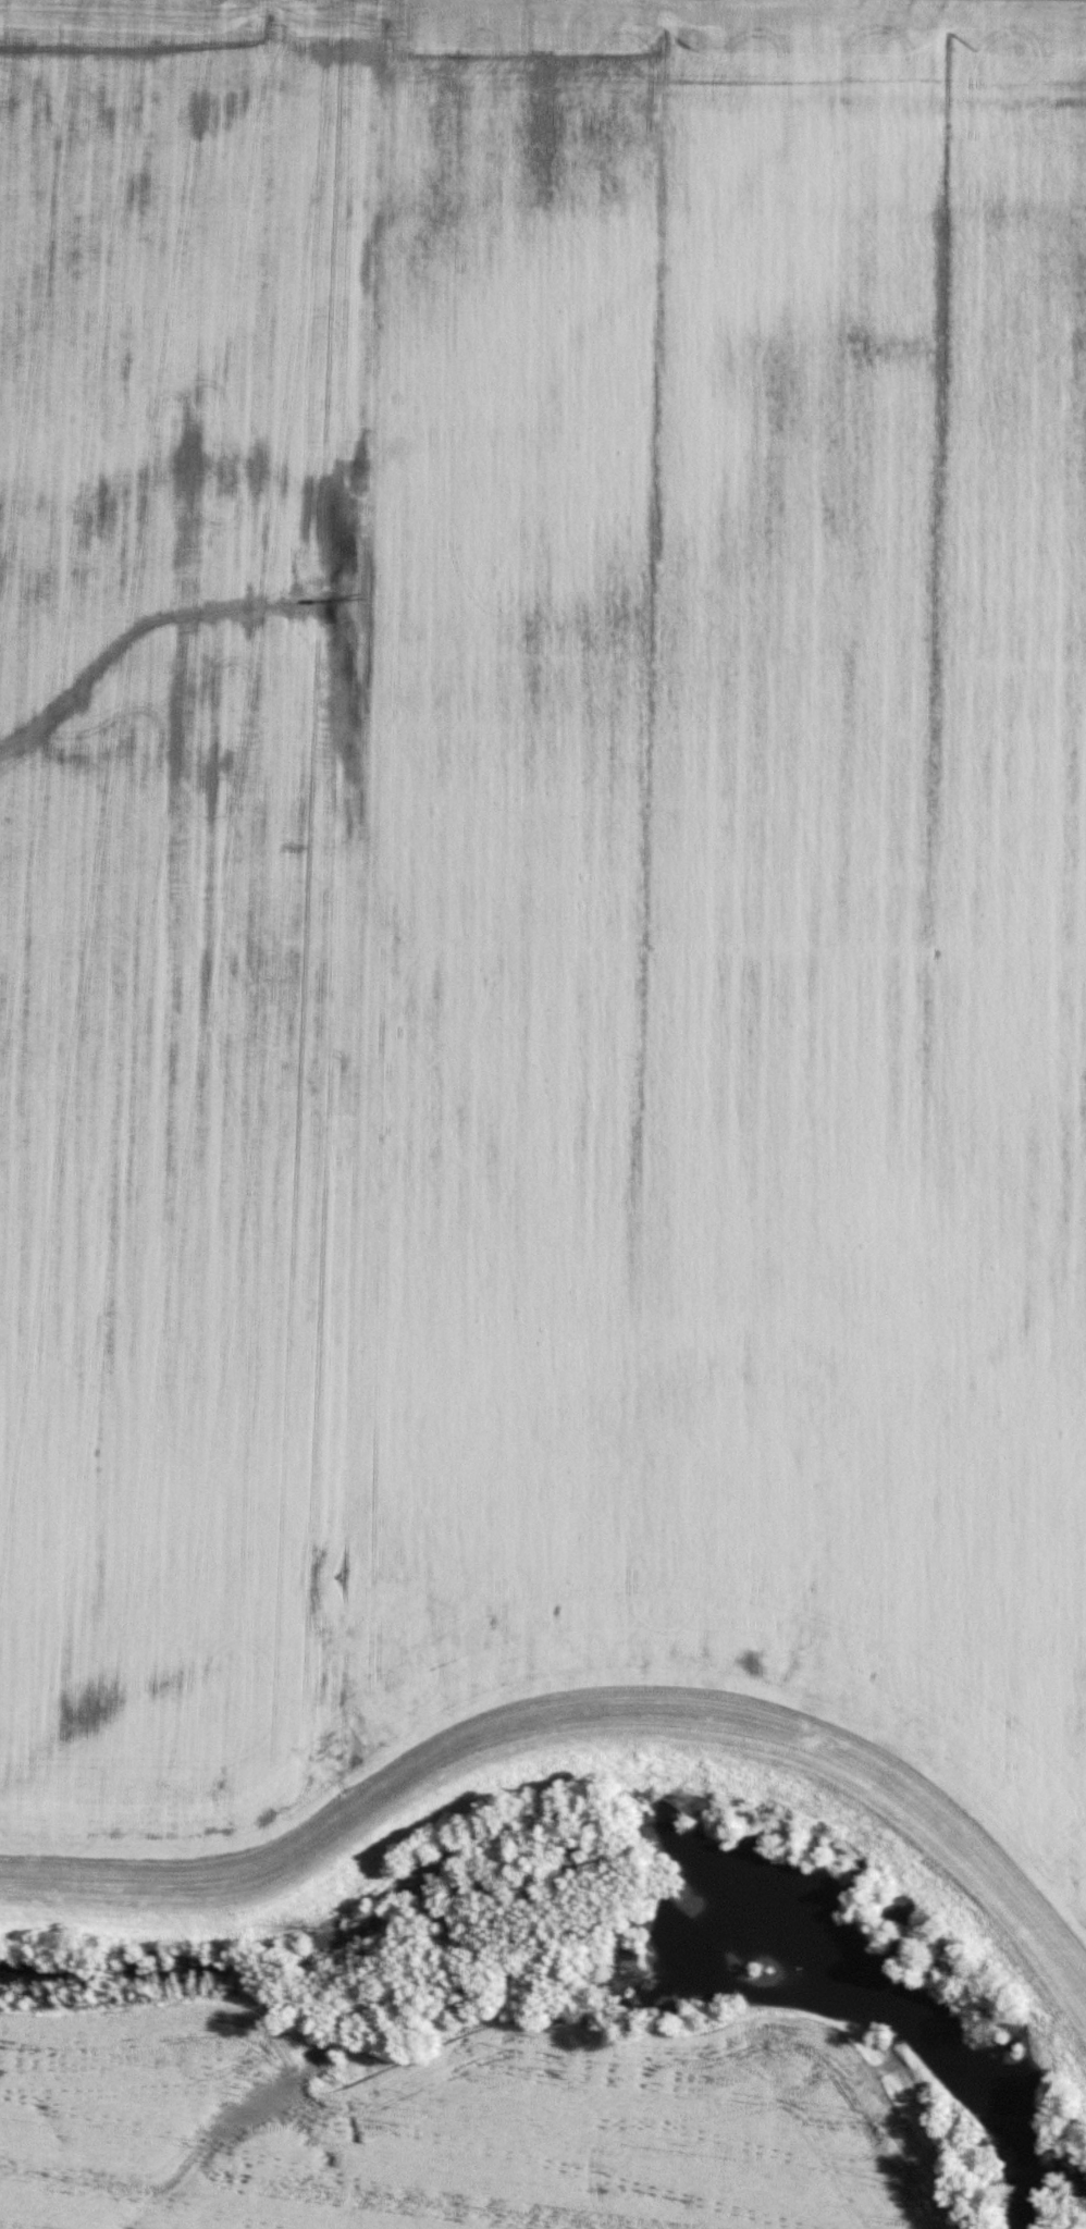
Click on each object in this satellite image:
crop: (536, 884)

